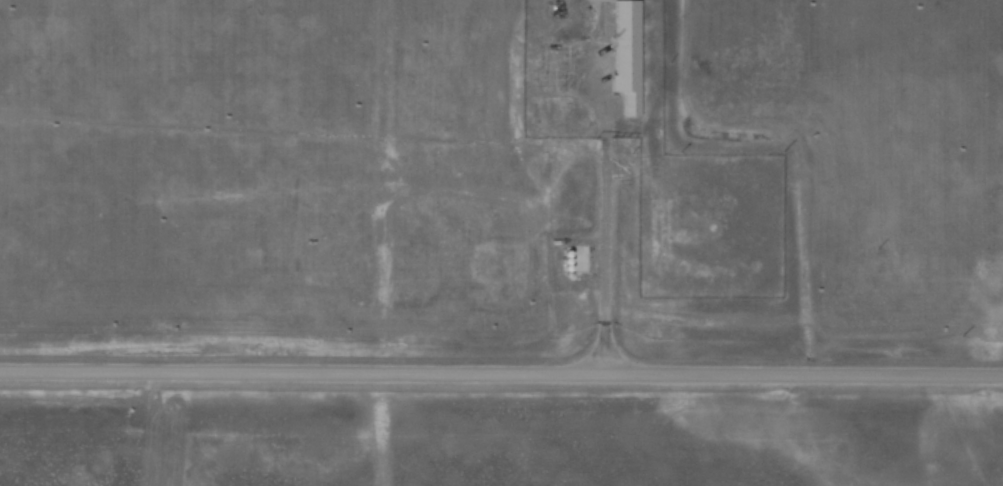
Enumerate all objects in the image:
building: (624, 54)
road: (598, 221)
road: (501, 375)

